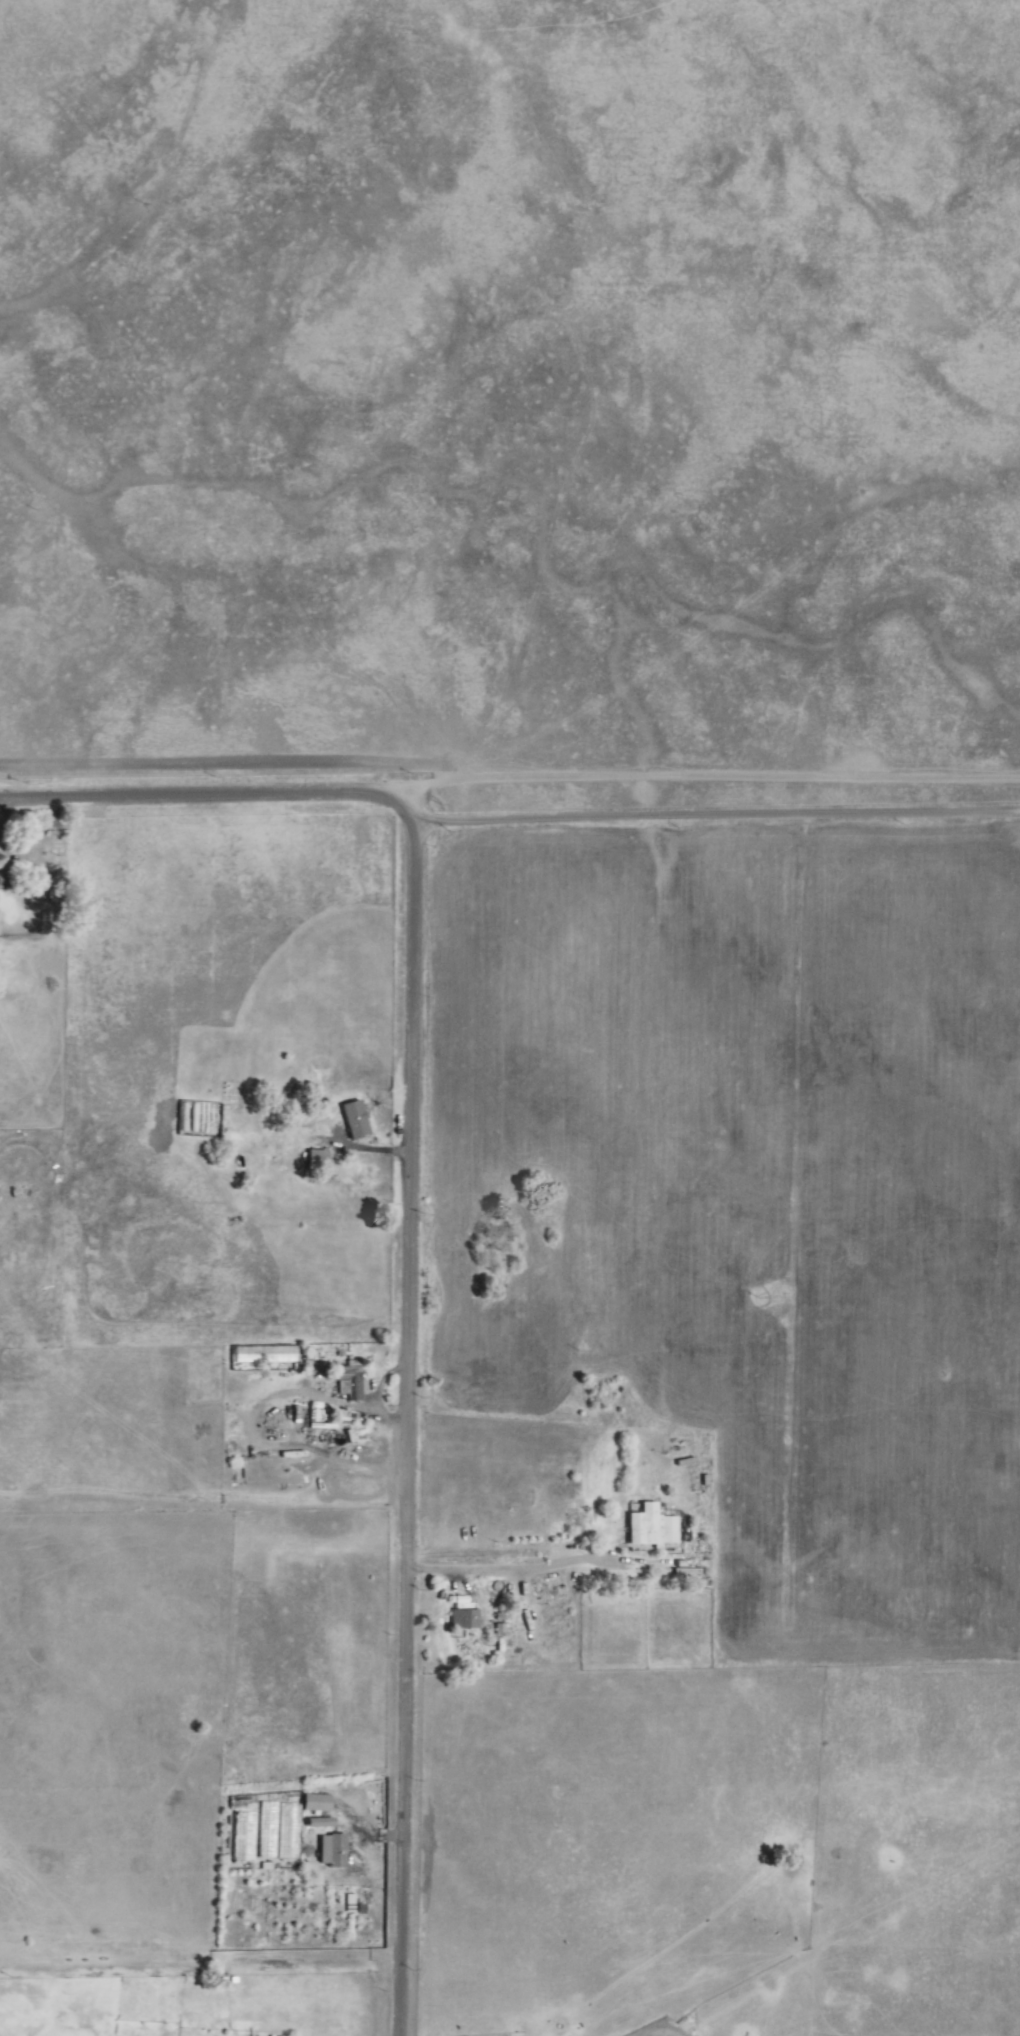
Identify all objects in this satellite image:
road: (714, 772)
road: (716, 812)
building: (356, 1119)
building: (318, 1160)
road: (409, 1207)
building: (349, 1378)
building: (652, 1527)
road: (500, 1570)
building: (464, 1619)
building: (502, 1629)
building: (317, 1803)
building: (338, 1851)

